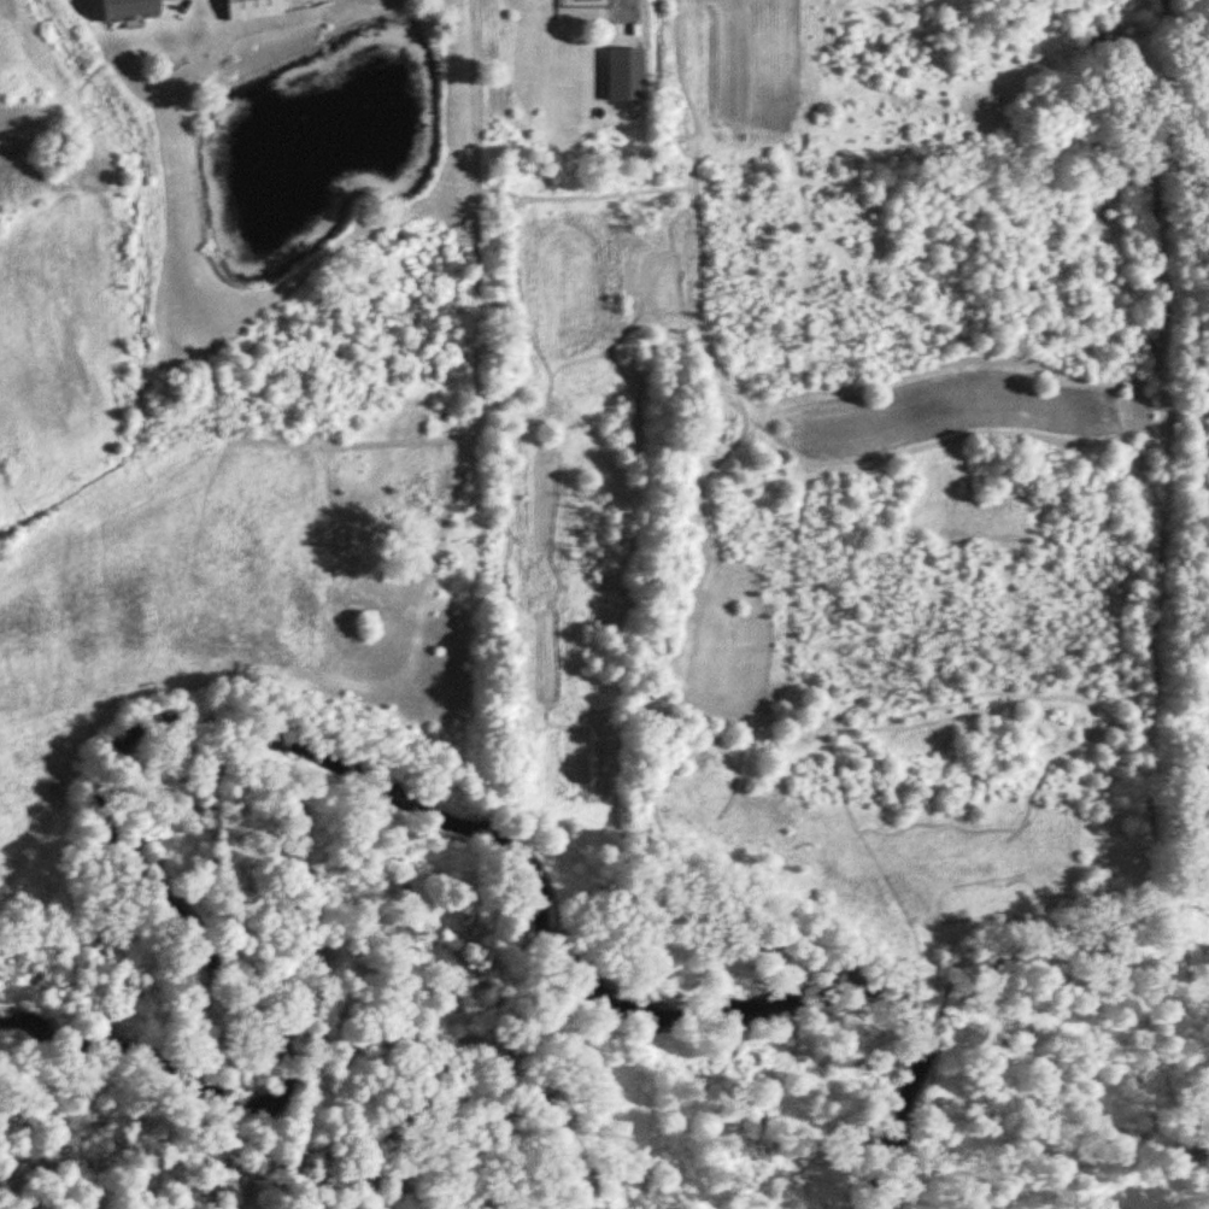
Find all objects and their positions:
building: (251, 10)
building: (125, 11)
building: (624, 76)
park: (1198, 356)
river: (313, 747)

